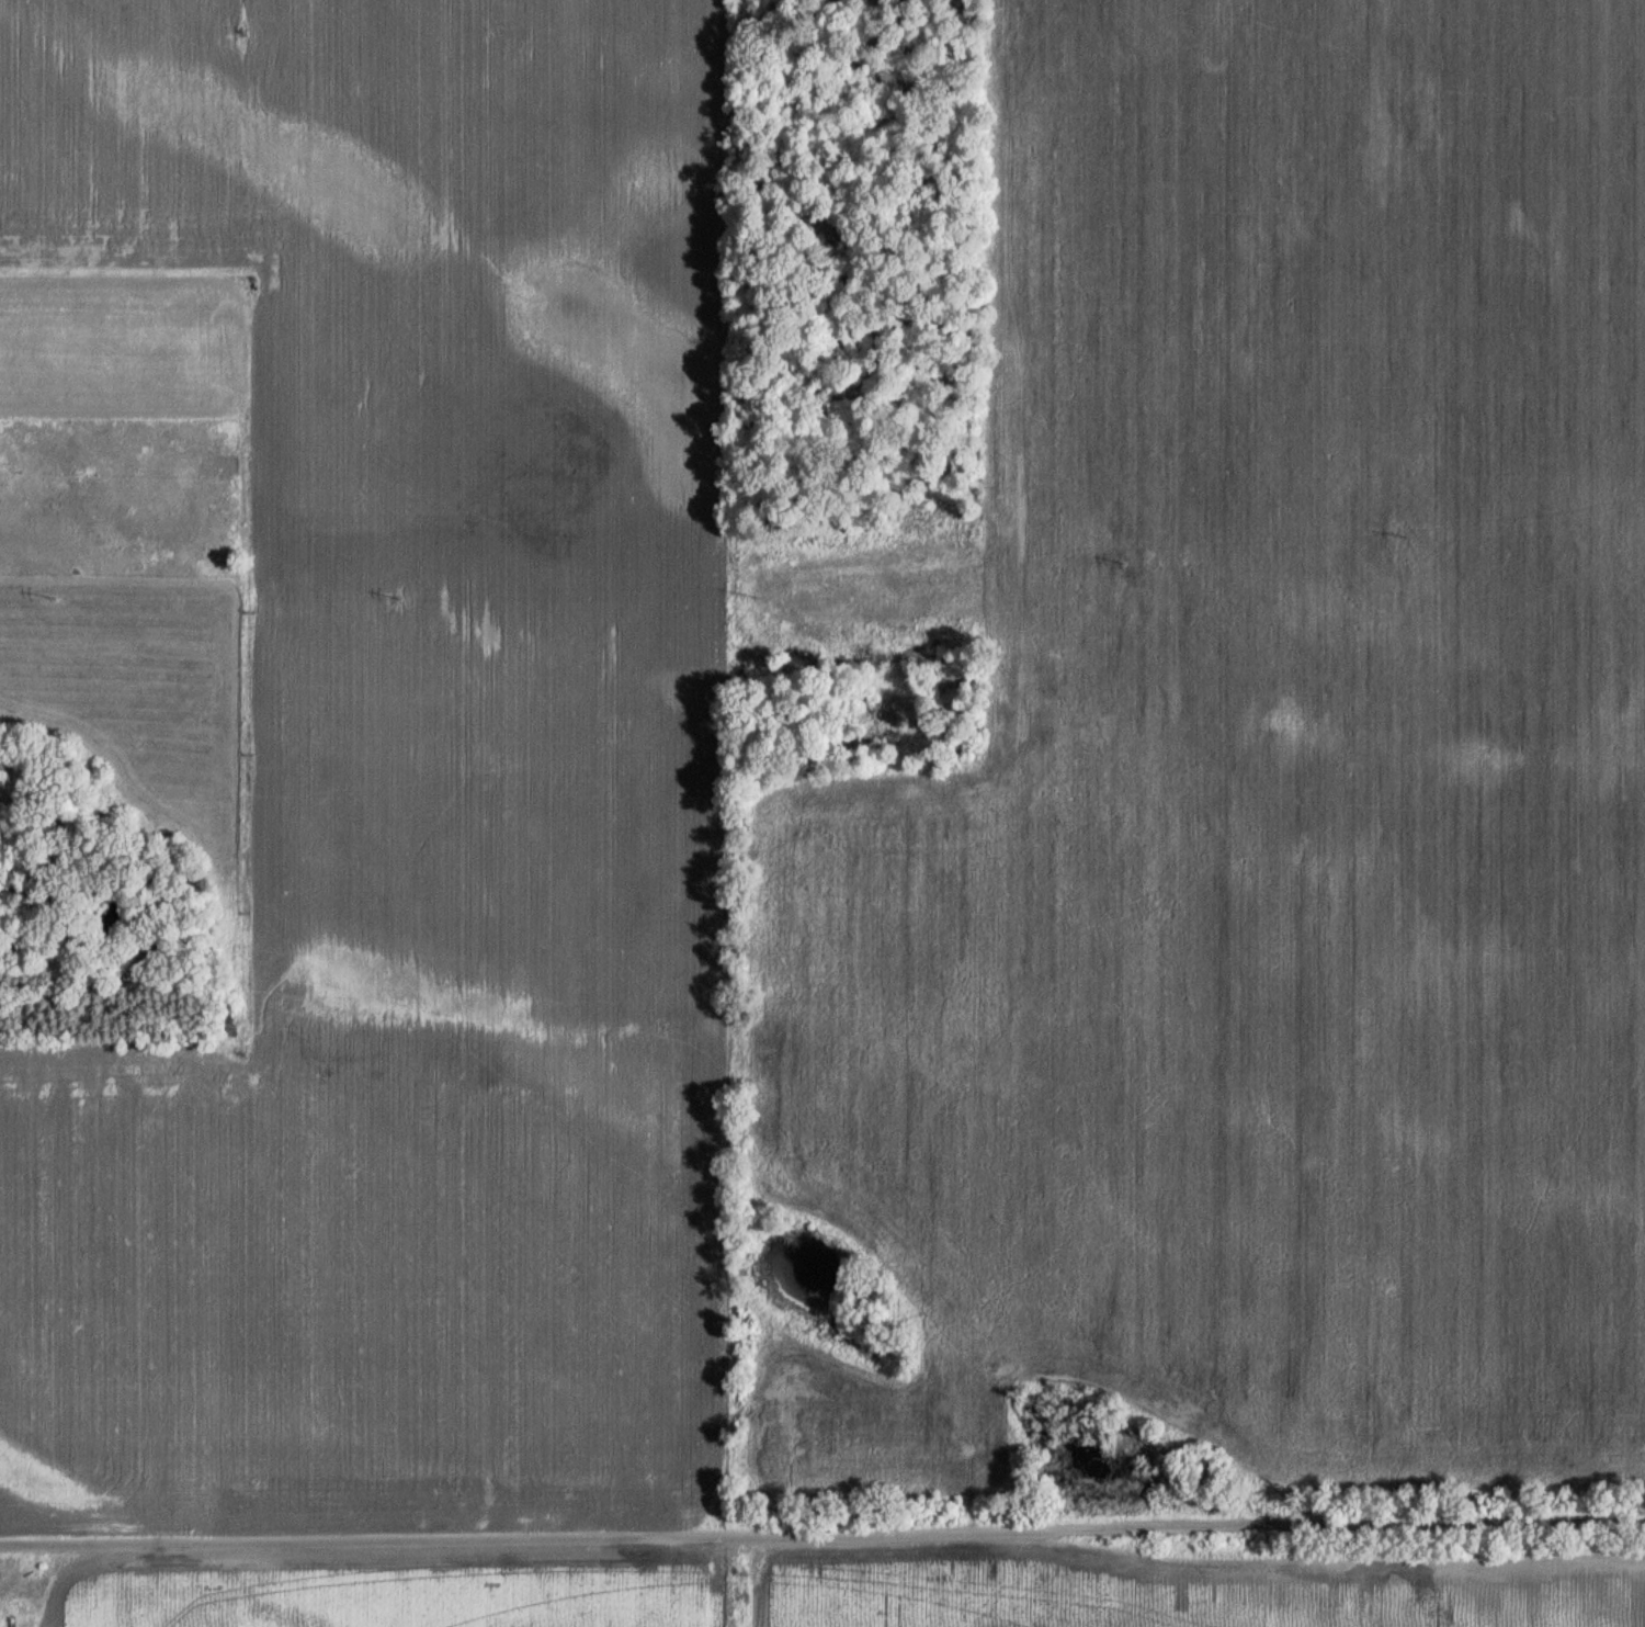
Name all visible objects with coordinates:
power tower: (1394, 535)
power tower: (1126, 563)
power tower: (59, 599)
power tower: (747, 600)
power tower: (395, 601)
road: (822, 1533)

